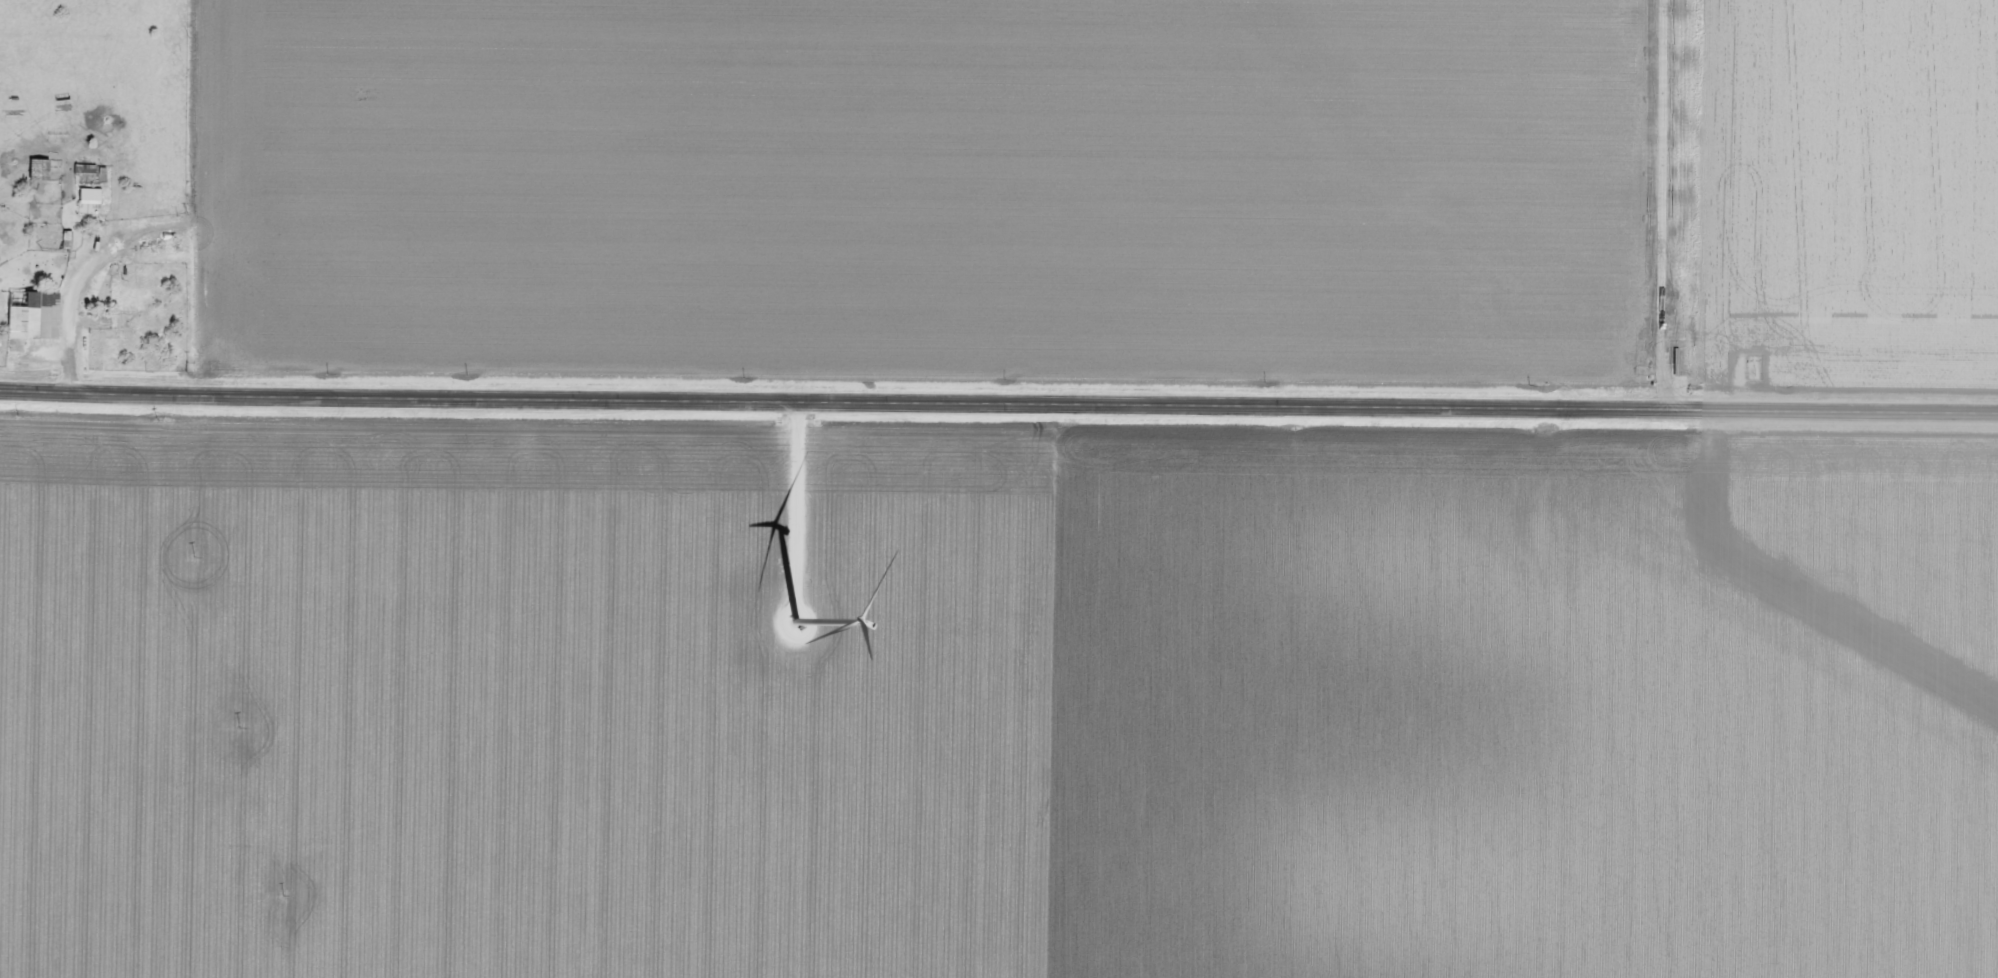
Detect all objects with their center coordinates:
building: (36, 170)
building: (30, 315)
road: (998, 402)
wind turbine: (804, 630)

